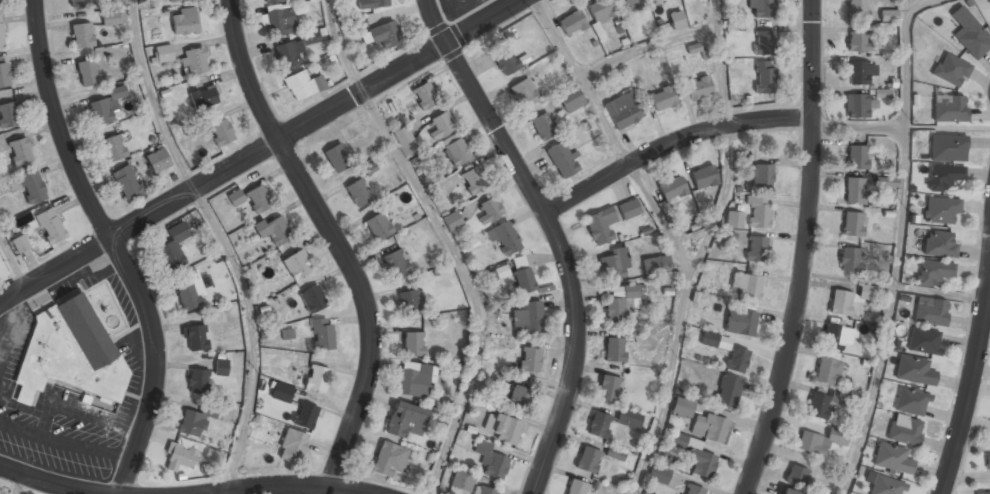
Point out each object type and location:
building: (179, 0)
building: (272, 1)
building: (630, 2)
building: (77, 3)
building: (372, 4)
parking lot: (460, 6)
building: (761, 9)
building: (857, 10)
building: (599, 11)
building: (888, 16)
building: (113, 18)
building: (676, 20)
building: (184, 22)
building: (280, 22)
building: (571, 23)
building: (1, 34)
building: (385, 34)
building: (969, 34)
building: (81, 36)
building: (859, 41)
building: (764, 43)
road: (647, 46)
road: (340, 47)
building: (164, 54)
building: (288, 54)
building: (505, 61)
building: (194, 62)
building: (951, 70)
building: (86, 73)
building: (859, 73)
building: (3, 75)
building: (764, 76)
building: (299, 85)
building: (696, 88)
building: (523, 93)
building: (424, 96)
building: (203, 97)
road: (153, 98)
building: (662, 98)
building: (571, 100)
building: (856, 106)
building: (104, 108)
building: (949, 109)
building: (623, 111)
building: (8, 116)
road: (315, 119)
building: (440, 126)
building: (543, 127)
building: (352, 130)
building: (221, 132)
road: (613, 135)
building: (402, 136)
road: (729, 138)
road: (671, 144)
building: (113, 148)
building: (947, 148)
building: (20, 151)
building: (455, 151)
building: (857, 157)
building: (336, 159)
building: (157, 160)
building: (561, 160)
building: (762, 176)
building: (703, 177)
building: (943, 177)
building: (473, 181)
building: (886, 182)
building: (127, 184)
building: (31, 185)
building: (671, 188)
building: (854, 190)
building: (358, 193)
building: (236, 198)
building: (258, 199)
building: (629, 209)
building: (941, 209)
building: (489, 211)
building: (759, 211)
building: (734, 219)
building: (452, 221)
building: (852, 224)
building: (49, 225)
building: (600, 225)
building: (378, 227)
building: (274, 230)
road: (555, 235)
building: (505, 239)
road: (336, 240)
road: (897, 242)
building: (20, 243)
building: (939, 243)
road: (113, 247)
building: (173, 247)
building: (756, 248)
road: (804, 250)
building: (849, 259)
road: (11, 263)
building: (614, 263)
building: (395, 264)
building: (656, 264)
building: (297, 265)
road: (51, 268)
building: (933, 271)
building: (499, 272)
building: (522, 275)
road: (467, 284)
building: (746, 284)
building: (189, 291)
building: (867, 292)
building: (313, 298)
building: (408, 302)
building: (618, 302)
building: (841, 303)
building: (931, 311)
building: (527, 317)
building: (739, 321)
building: (86, 330)
building: (322, 333)
building: (287, 334)
road: (250, 335)
building: (836, 337)
building: (196, 338)
building: (715, 341)
building: (924, 341)
building: (413, 345)
building: (614, 349)
building: (736, 359)
building: (530, 360)
building: (221, 367)
building: (827, 370)
building: (915, 371)
building: (317, 378)
building: (29, 380)
building: (413, 380)
building: (197, 382)
road: (970, 382)
road: (668, 383)
building: (608, 388)
building: (727, 391)
building: (281, 393)
building: (520, 398)
building: (911, 401)
building: (818, 406)
building: (682, 408)
building: (305, 416)
building: (629, 419)
building: (405, 420)
building: (192, 422)
building: (599, 425)
building: (502, 428)
building: (710, 428)
building: (905, 430)
building: (678, 440)
building: (820, 442)
building: (292, 446)
building: (614, 454)
building: (213, 455)
building: (178, 458)
building: (389, 459)
building: (892, 459)
building: (588, 460)
building: (490, 461)
building: (987, 462)
building: (701, 463)
building: (796, 475)
building: (659, 476)
building: (461, 482)
road: (51, 484)
building: (883, 484)
road: (15, 485)
road: (286, 485)
building: (576, 487)
building: (693, 490)
building: (485, 491)
road: (224, 492)
building: (787, 492)
building: (982, 493)

